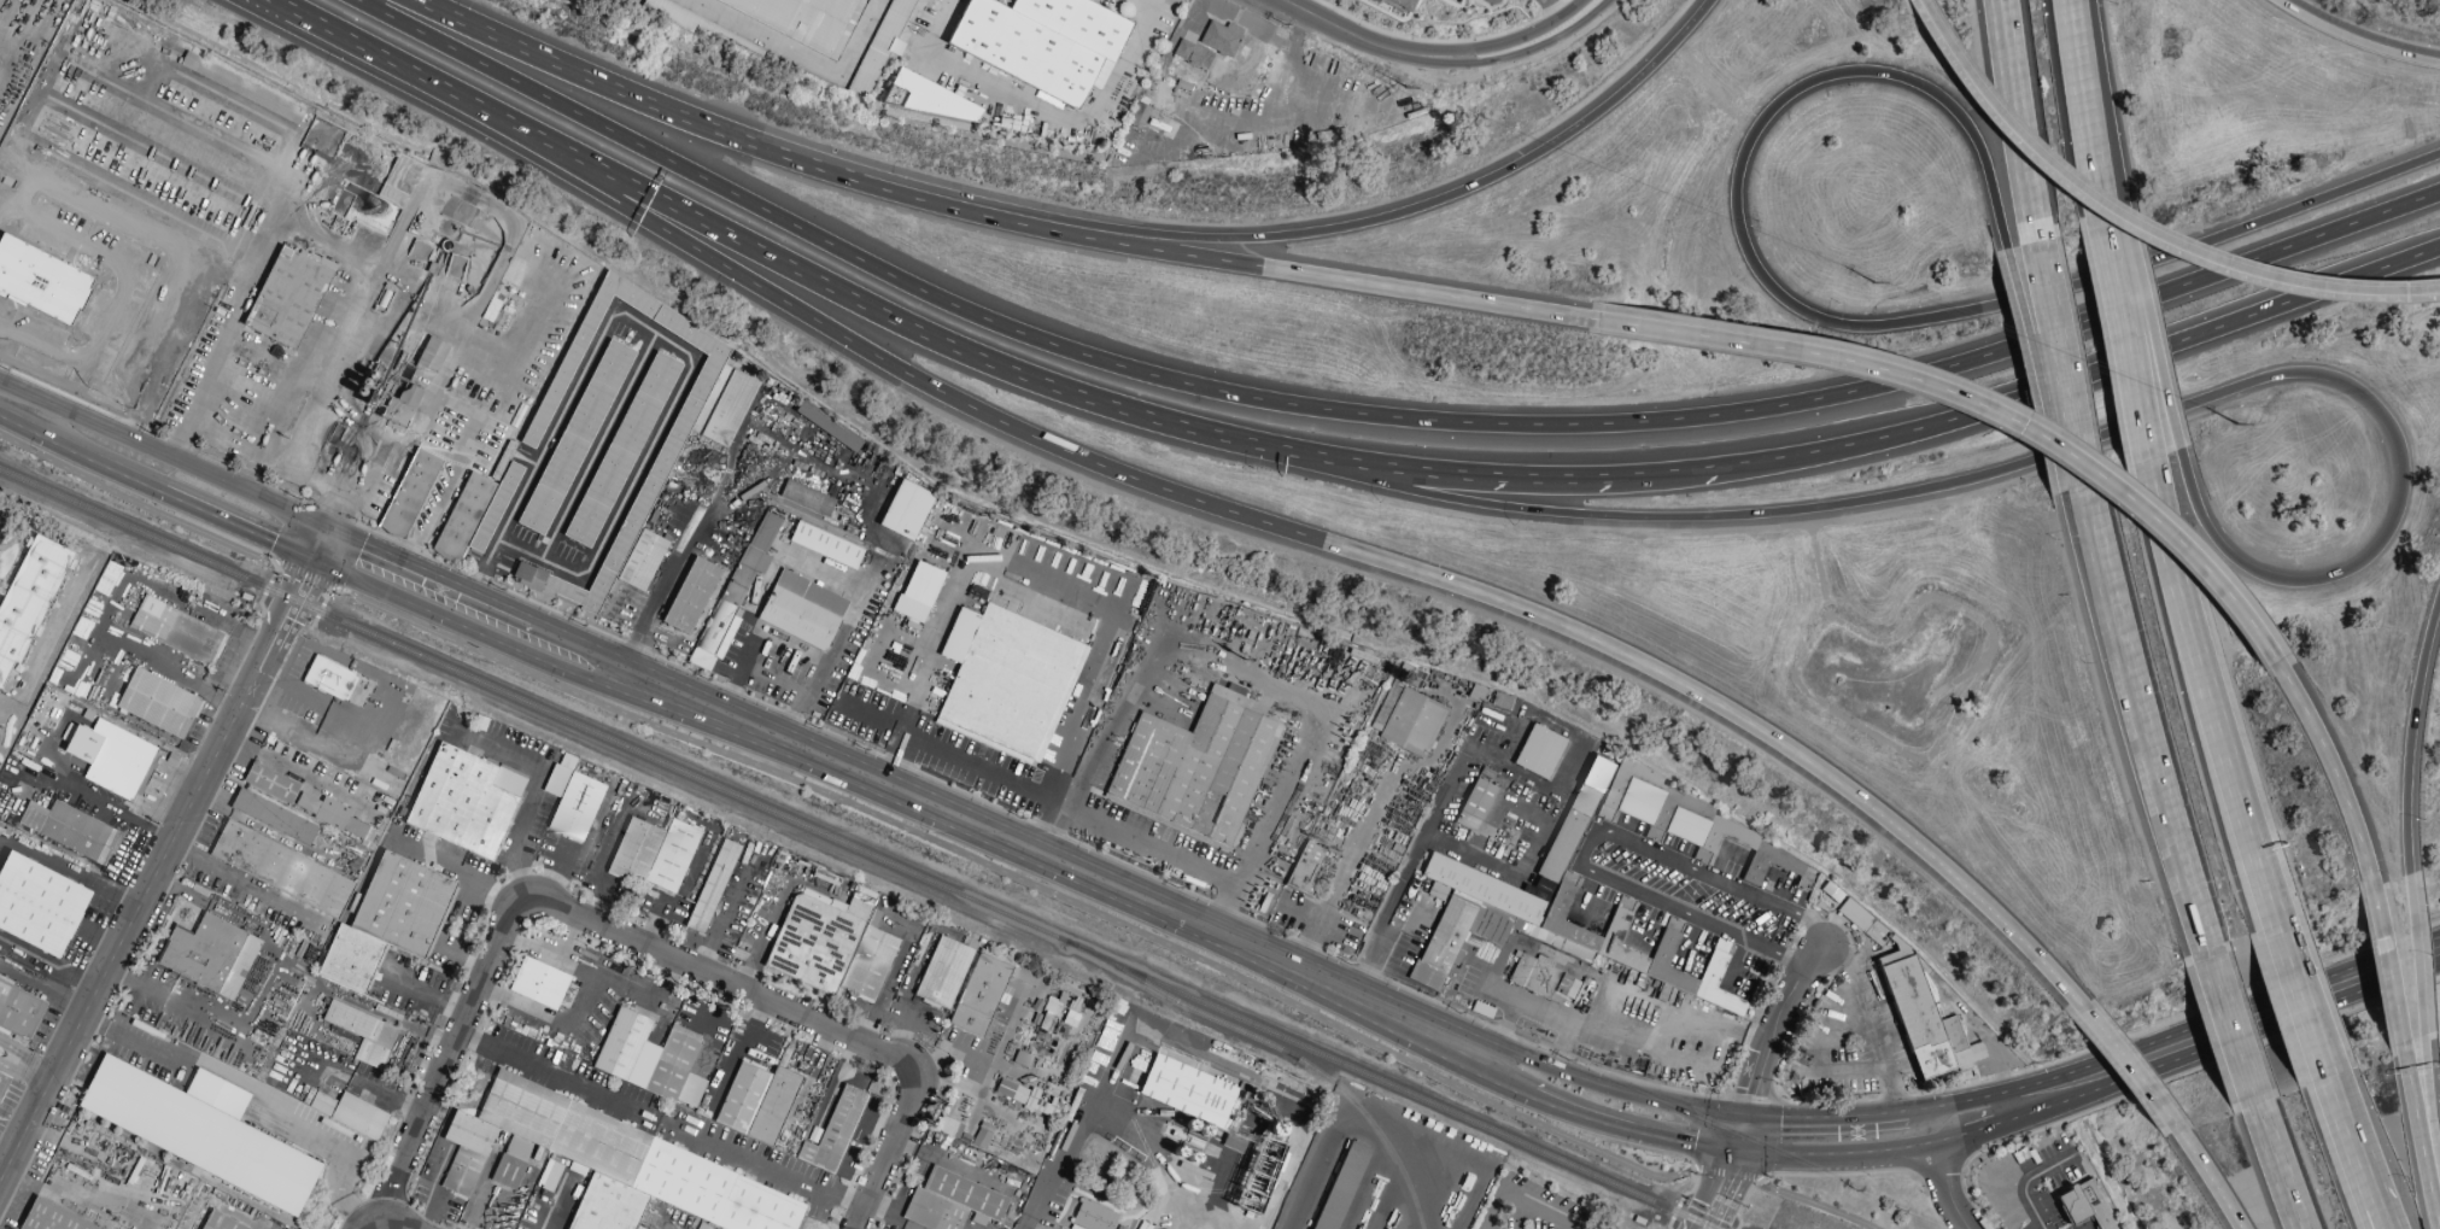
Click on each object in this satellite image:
building: (1382, 0)
building: (1414, 0)
road: (1556, 11)
road: (1578, 11)
building: (681, 17)
building: (801, 19)
building: (1219, 39)
building: (1041, 41)
road: (2353, 42)
building: (883, 45)
road: (803, 57)
building: (1189, 57)
road: (1415, 57)
road: (419, 77)
road: (602, 84)
building: (241, 88)
building: (932, 100)
road: (2082, 107)
road: (1045, 111)
building: (1137, 116)
road: (1346, 123)
road: (2020, 125)
road: (2135, 227)
road: (1287, 236)
road: (2106, 246)
road: (1188, 257)
building: (41, 282)
building: (286, 298)
road: (1836, 324)
road: (912, 329)
road: (2025, 330)
road: (166, 338)
road: (668, 341)
building: (431, 355)
road: (2158, 358)
road: (215, 362)
road: (2064, 369)
road: (2131, 369)
road: (2037, 391)
road: (8, 397)
road: (454, 402)
building: (729, 409)
road: (1977, 410)
building: (394, 412)
road: (1375, 416)
road: (262, 419)
building: (827, 427)
building: (575, 438)
road: (598, 447)
building: (668, 447)
building: (621, 450)
road: (2049, 453)
road: (83, 456)
road: (181, 457)
road: (1346, 460)
road: (299, 472)
road: (1516, 474)
building: (409, 493)
building: (806, 498)
building: (905, 510)
building: (474, 514)
road: (333, 516)
traffic signals: (320, 520)
road: (242, 528)
traffic signals: (339, 529)
building: (763, 532)
road: (2, 534)
building: (825, 545)
road: (1347, 550)
road: (303, 558)
road: (1816, 566)
road: (321, 567)
road: (435, 573)
building: (918, 592)
road: (656, 596)
building: (690, 596)
building: (28, 599)
building: (729, 608)
building: (802, 610)
road: (850, 615)
road: (463, 627)
road: (233, 628)
building: (176, 631)
road: (577, 633)
road: (261, 642)
road: (279, 649)
road: (782, 666)
building: (329, 679)
road: (1959, 679)
building: (1006, 681)
road: (296, 691)
road: (2210, 700)
building: (158, 703)
building: (1411, 722)
road: (1859, 726)
road: (2142, 726)
road: (2411, 737)
building: (1538, 751)
building: (109, 757)
building: (1196, 766)
road: (2335, 774)
building: (555, 780)
building: (270, 783)
building: (464, 801)
road: (1445, 801)
building: (1474, 804)
building: (575, 807)
road: (1073, 807)
building: (332, 815)
building: (273, 817)
road: (121, 818)
building: (1574, 820)
building: (1686, 821)
building: (69, 830)
road: (1048, 830)
road: (1585, 842)
road: (937, 843)
road: (1003, 844)
railway: (856, 849)
building: (653, 854)
building: (281, 870)
building: (1305, 870)
road: (1519, 874)
road: (247, 884)
building: (712, 886)
road: (1691, 891)
road: (1196, 900)
building: (39, 905)
building: (386, 921)
building: (1582, 930)
road: (128, 937)
building: (1451, 941)
building: (831, 947)
building: (210, 955)
road: (2419, 955)
road: (2391, 968)
building: (942, 972)
building: (1534, 975)
road: (722, 981)
building: (538, 983)
building: (1566, 987)
road: (46, 990)
road: (429, 994)
building: (981, 995)
building: (1914, 1006)
road: (2305, 1006)
building: (19, 1011)
building: (1942, 1011)
road: (1868, 1020)
road: (2241, 1032)
building: (362, 1034)
road: (2235, 1034)
railway: (1275, 1047)
road: (451, 1054)
road: (1468, 1054)
road: (11, 1055)
building: (649, 1059)
building: (1020, 1059)
road: (2135, 1069)
road: (34, 1070)
road: (1573, 1073)
road: (2165, 1082)
building: (2, 1084)
road: (1756, 1088)
building: (1020, 1096)
road: (1974, 1100)
building: (756, 1102)
building: (346, 1112)
road: (2433, 1113)
road: (1826, 1118)
building: (1221, 1119)
traffic signals: (1745, 1122)
road: (2005, 1122)
road: (663, 1124)
road: (1631, 1125)
building: (948, 1128)
road: (2422, 1129)
building: (198, 1130)
road: (1076, 1130)
building: (833, 1133)
road: (2348, 1134)
road: (897, 1141)
road: (1953, 1146)
building: (466, 1152)
road: (1833, 1154)
building: (630, 1167)
road: (2281, 1167)
building: (548, 1176)
road: (2210, 1180)
building: (1339, 1186)
road: (1948, 1192)
road: (1521, 1201)
building: (950, 1202)
building: (2084, 1205)
road: (2376, 1210)
building: (1093, 1217)
building: (51, 1218)
building: (218, 1222)
road: (384, 1224)

